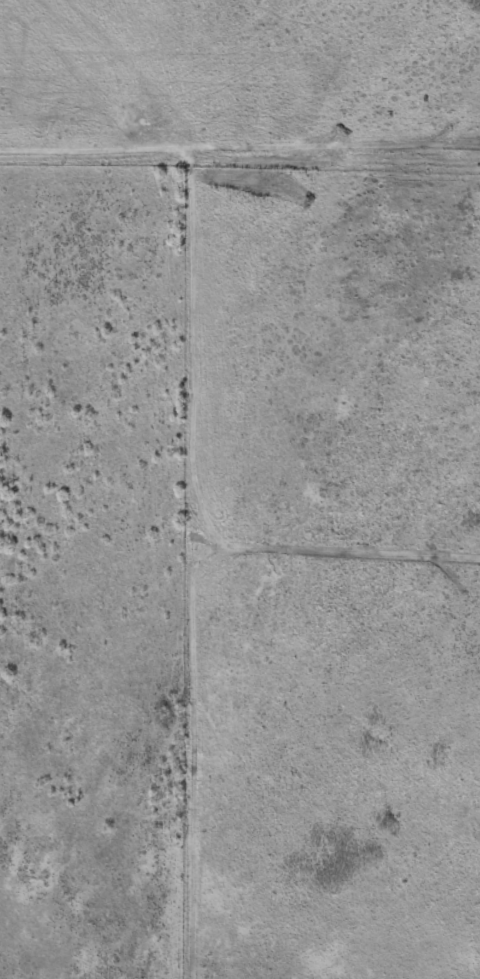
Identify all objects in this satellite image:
road: (240, 161)

